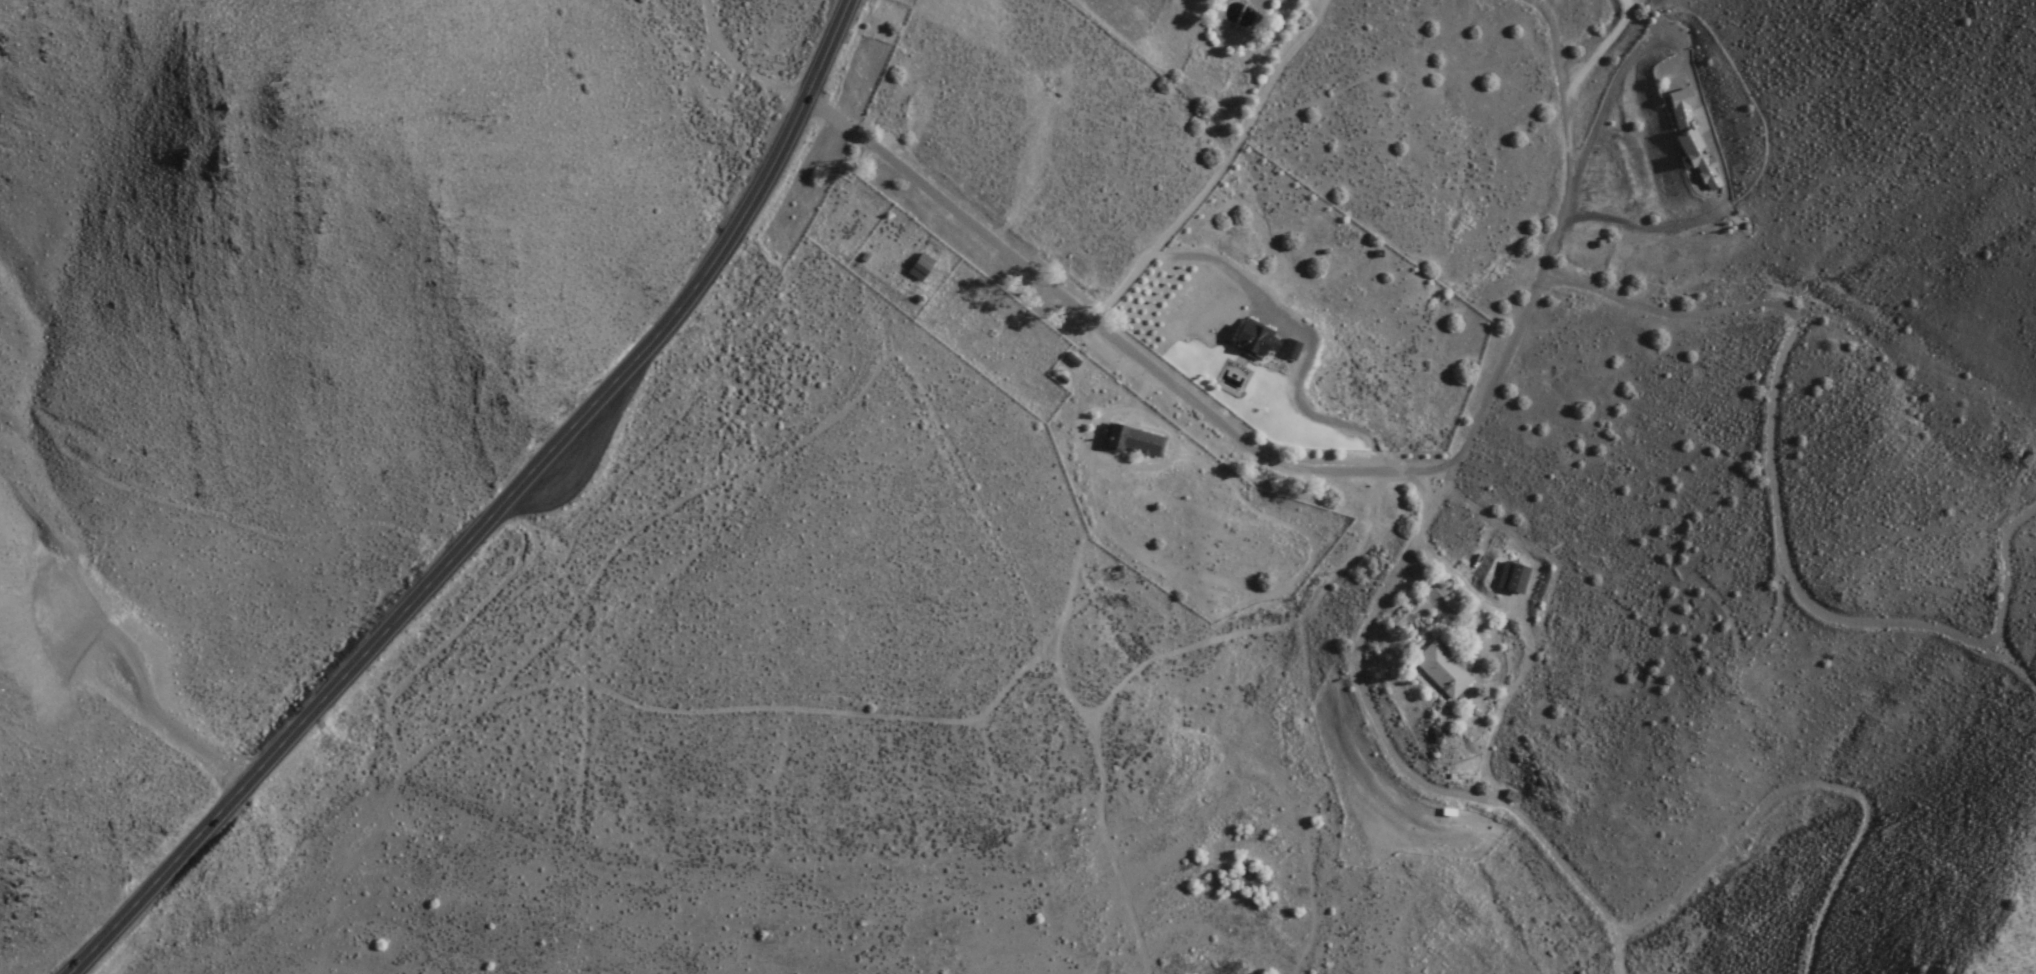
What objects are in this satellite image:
building: (1681, 105)
building: (1697, 156)
building: (922, 267)
building: (1132, 442)
road: (496, 510)
road: (985, 512)
road: (615, 554)
building: (1444, 670)
road: (1025, 708)
road: (753, 710)
road: (1007, 837)
road: (1071, 957)

